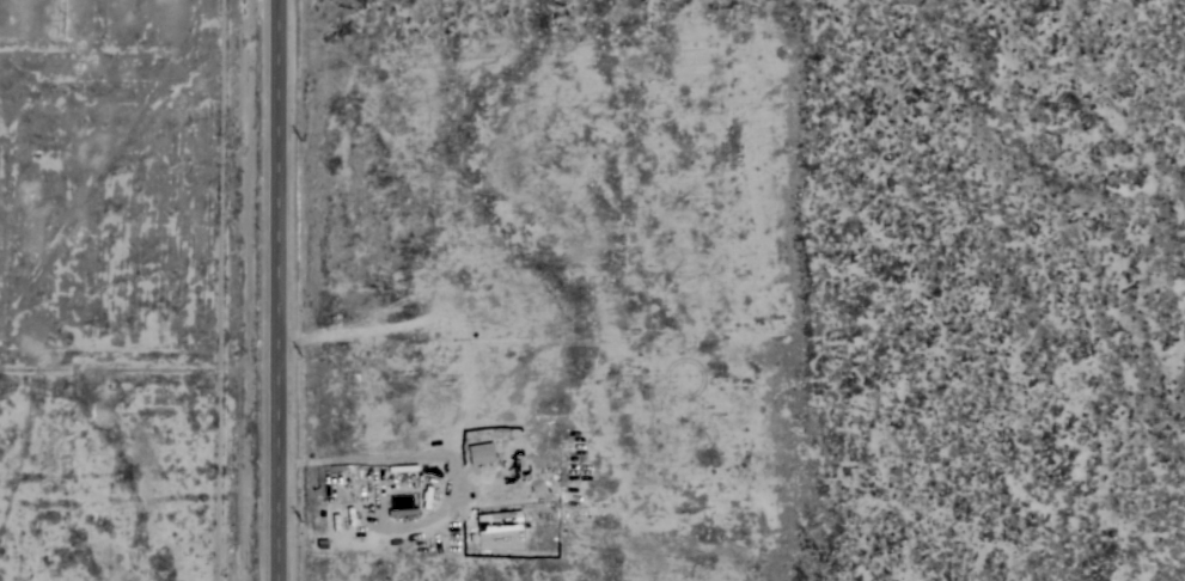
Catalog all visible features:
road: (243, 290)

